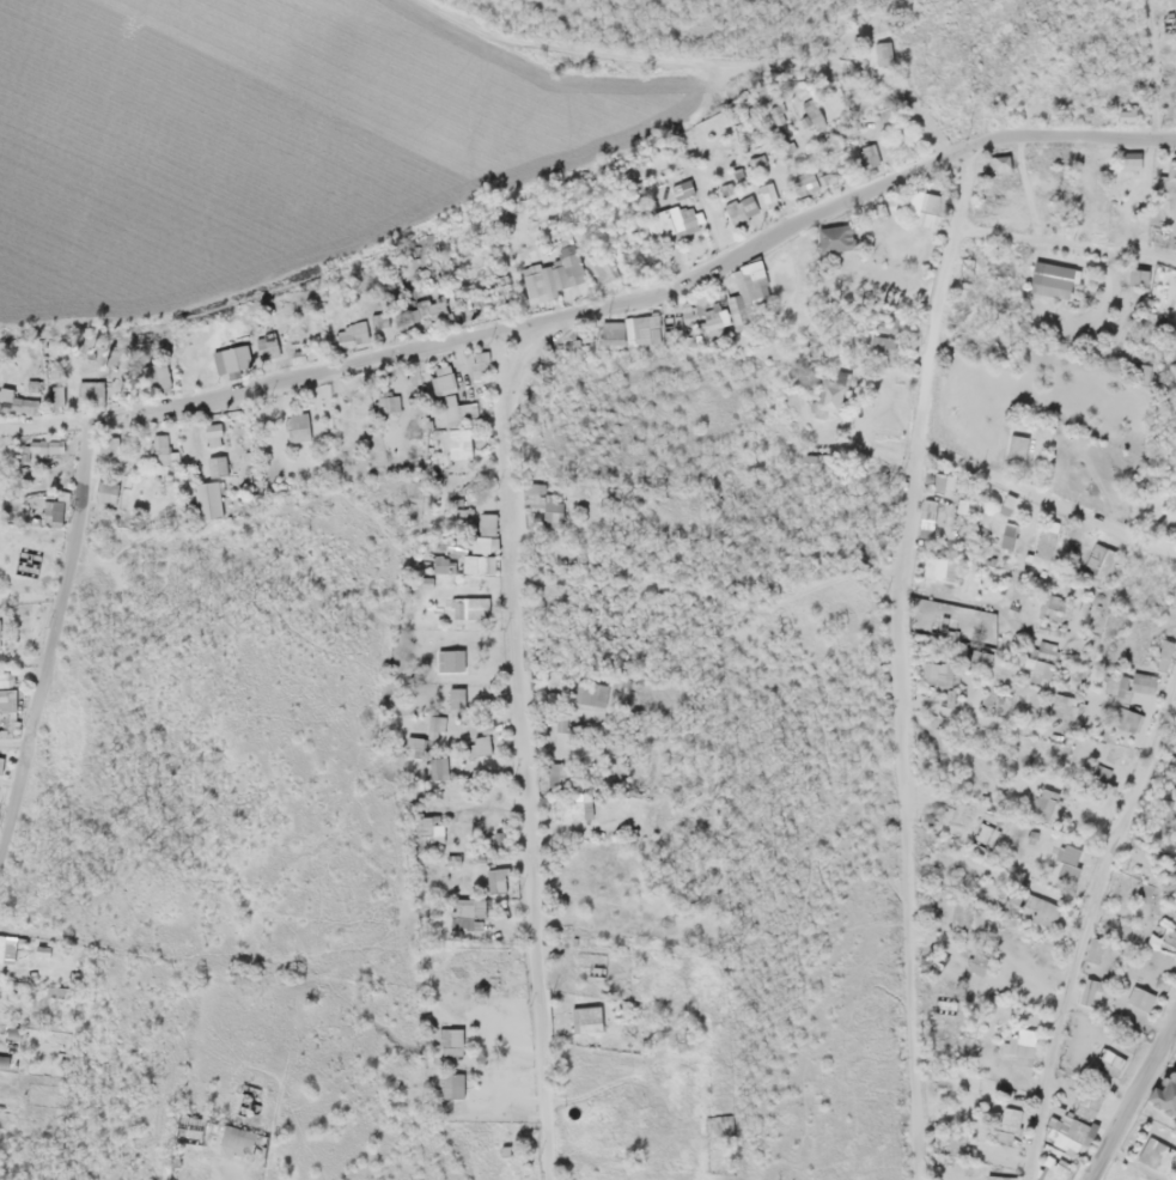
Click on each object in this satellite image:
building: (1175, 19)
building: (1137, 153)
building: (752, 197)
building: (931, 203)
building: (689, 217)
road: (1066, 242)
building: (1059, 275)
road: (640, 296)
building: (742, 305)
building: (886, 345)
building: (237, 355)
building: (160, 375)
building: (833, 396)
road: (42, 421)
building: (303, 424)
building: (944, 479)
building: (110, 491)
building: (213, 499)
road: (1046, 499)
building: (967, 500)
building: (556, 512)
building: (487, 533)
building: (939, 565)
road: (708, 595)
road: (51, 635)
road: (900, 661)
building: (1043, 664)
building: (934, 669)
building: (1147, 676)
road: (983, 716)
road: (522, 754)
road: (1085, 924)
road: (1132, 1099)
road: (1137, 1163)

